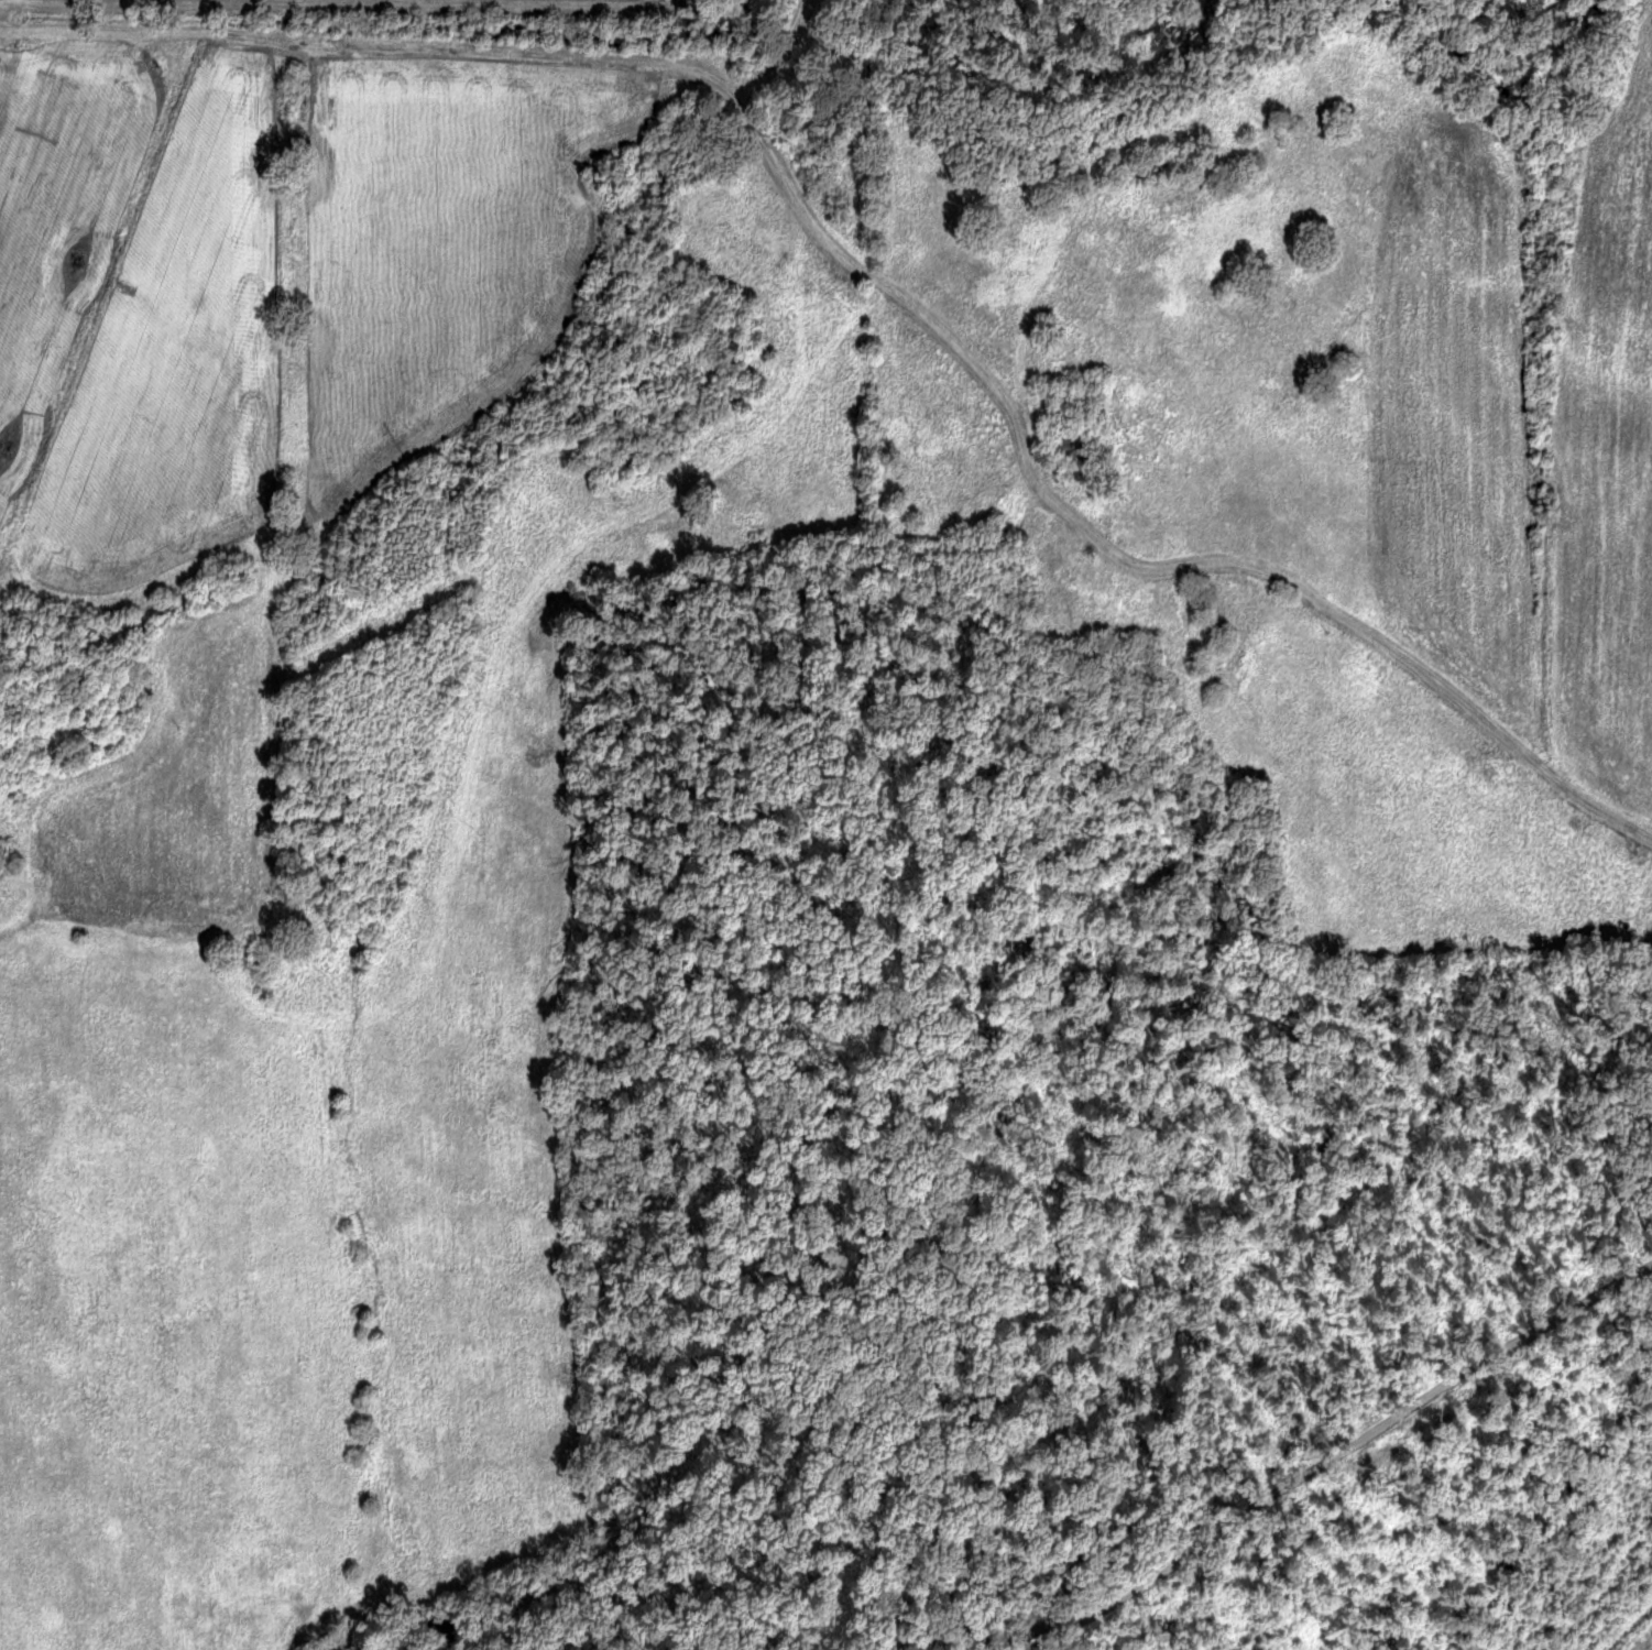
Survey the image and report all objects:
building: (1074, 444)
road: (1342, 621)
road: (1334, 1457)

